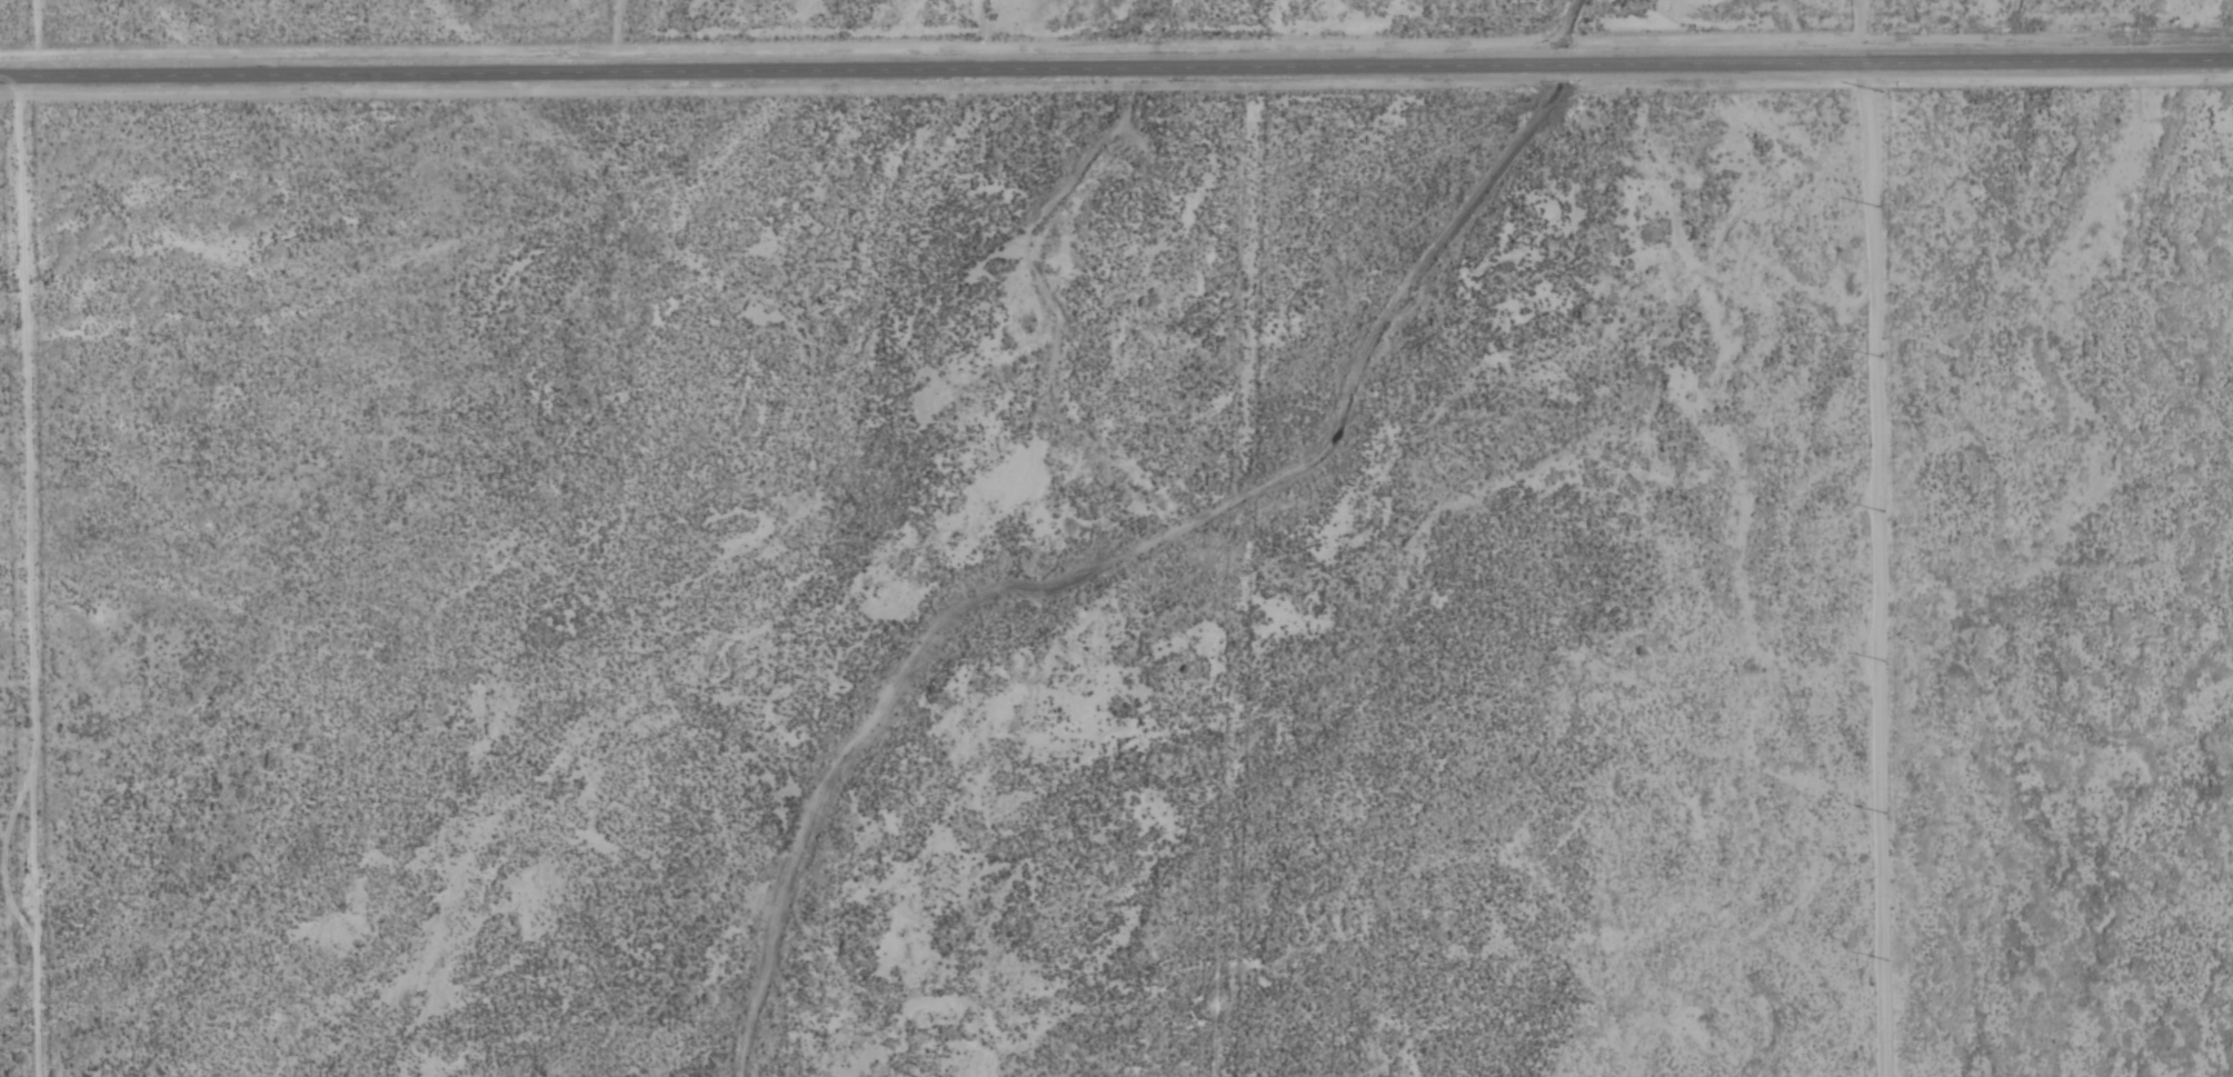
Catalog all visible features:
road: (1116, 61)
railway: (1328, 479)
railway: (1317, 481)
road: (1846, 538)
railway: (1615, 1018)
railway: (1604, 1020)

